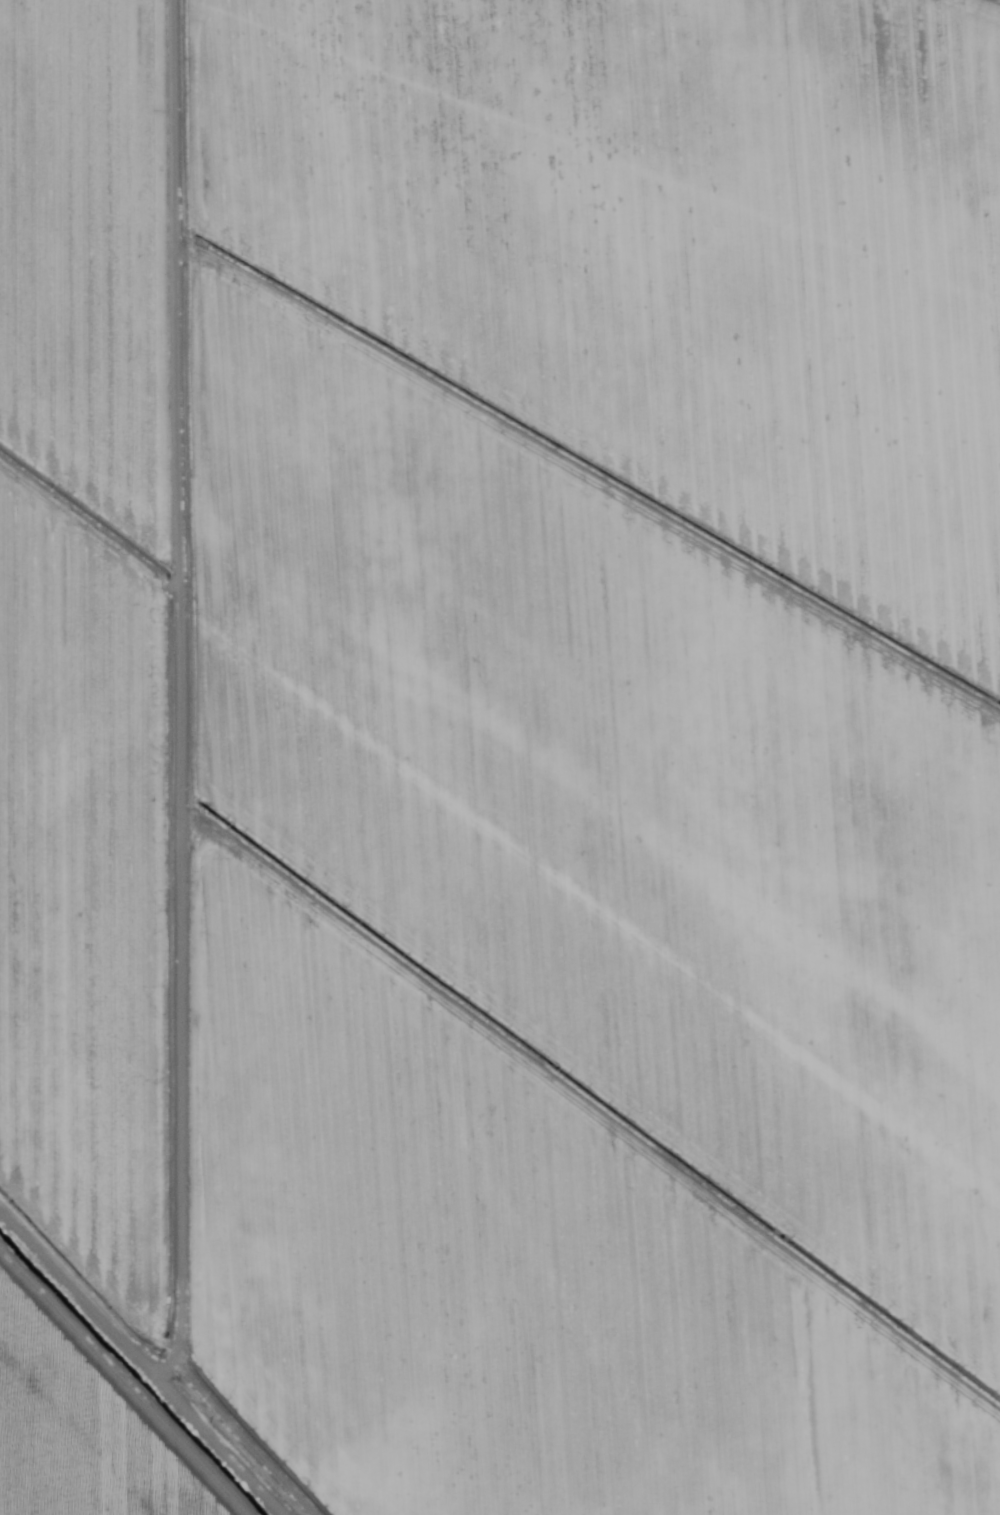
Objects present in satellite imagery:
crop: (500, 757)
road: (157, 793)
road: (71, 1219)

